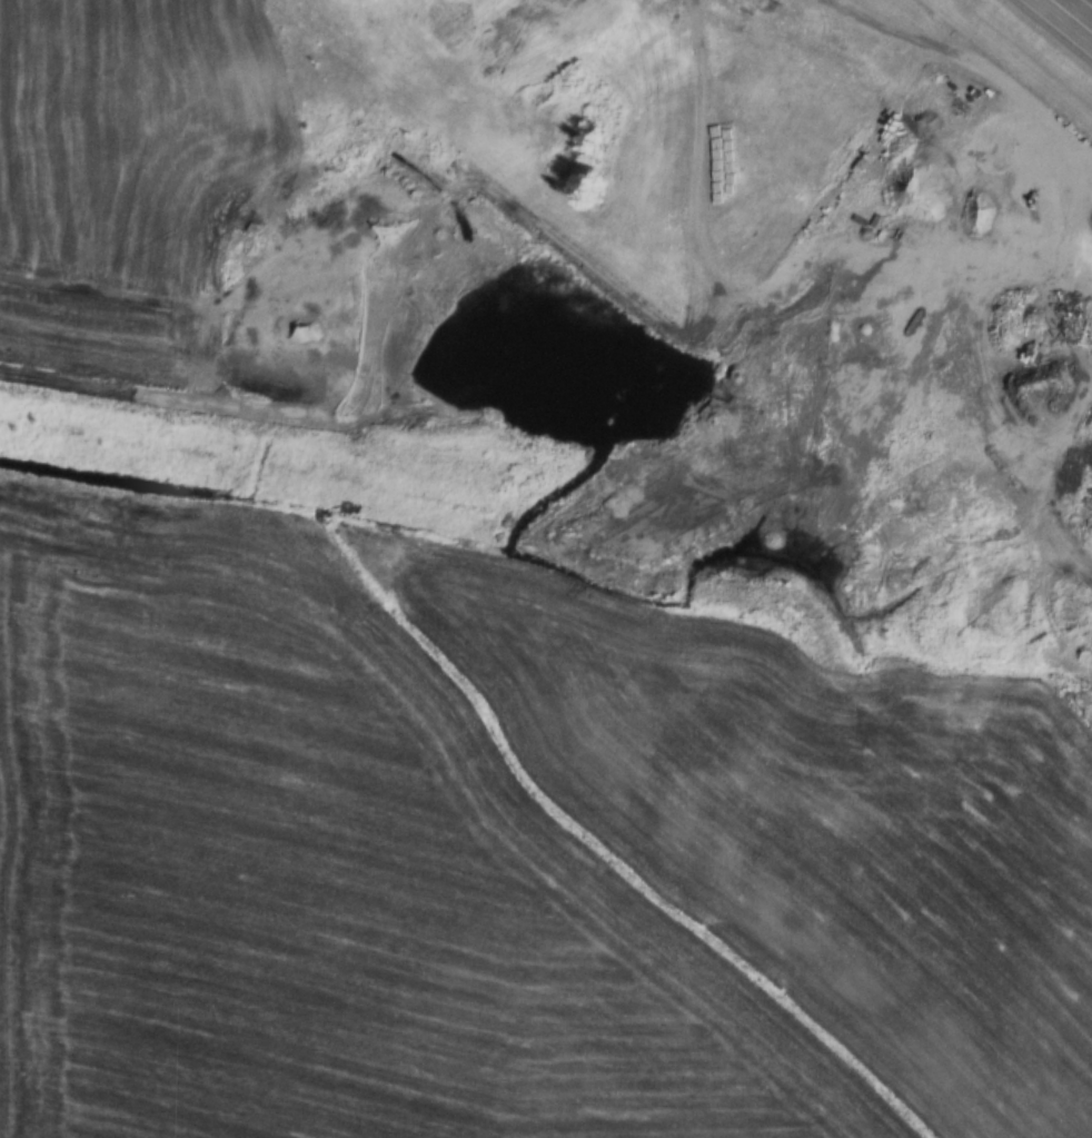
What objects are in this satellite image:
road: (1071, 17)

